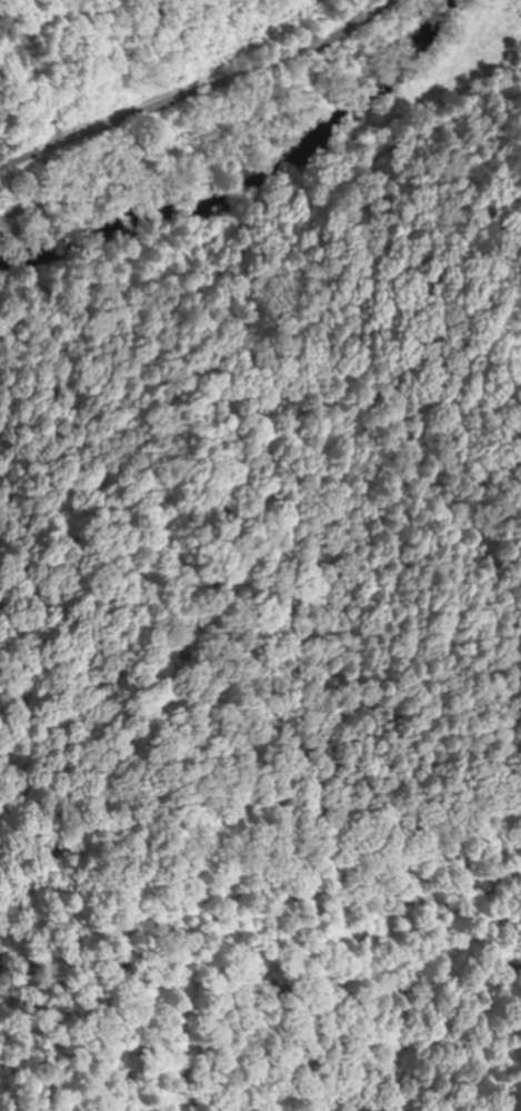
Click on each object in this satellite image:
road: (201, 91)

